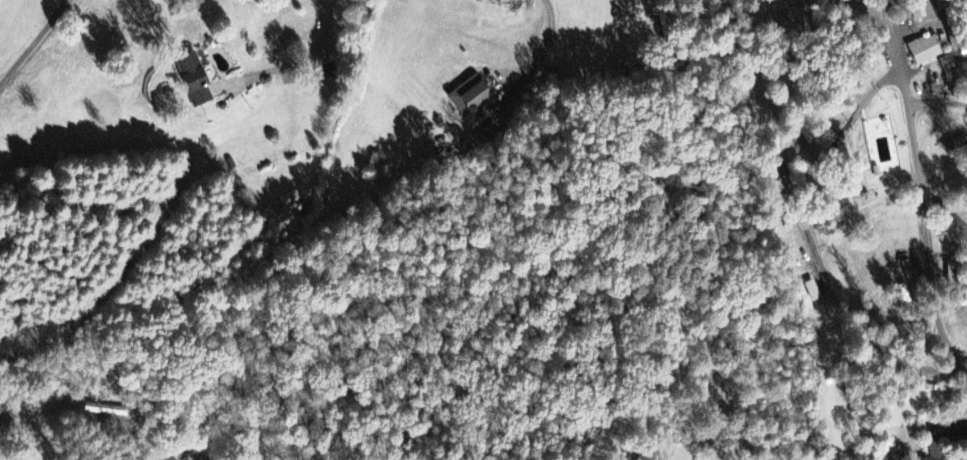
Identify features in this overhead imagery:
building: (781, 0)
building: (921, 8)
road: (33, 43)
building: (923, 51)
building: (946, 64)
building: (188, 80)
building: (468, 100)
road: (921, 186)
building: (810, 292)
road: (30, 426)
building: (933, 451)
building: (192, 457)
building: (172, 459)

